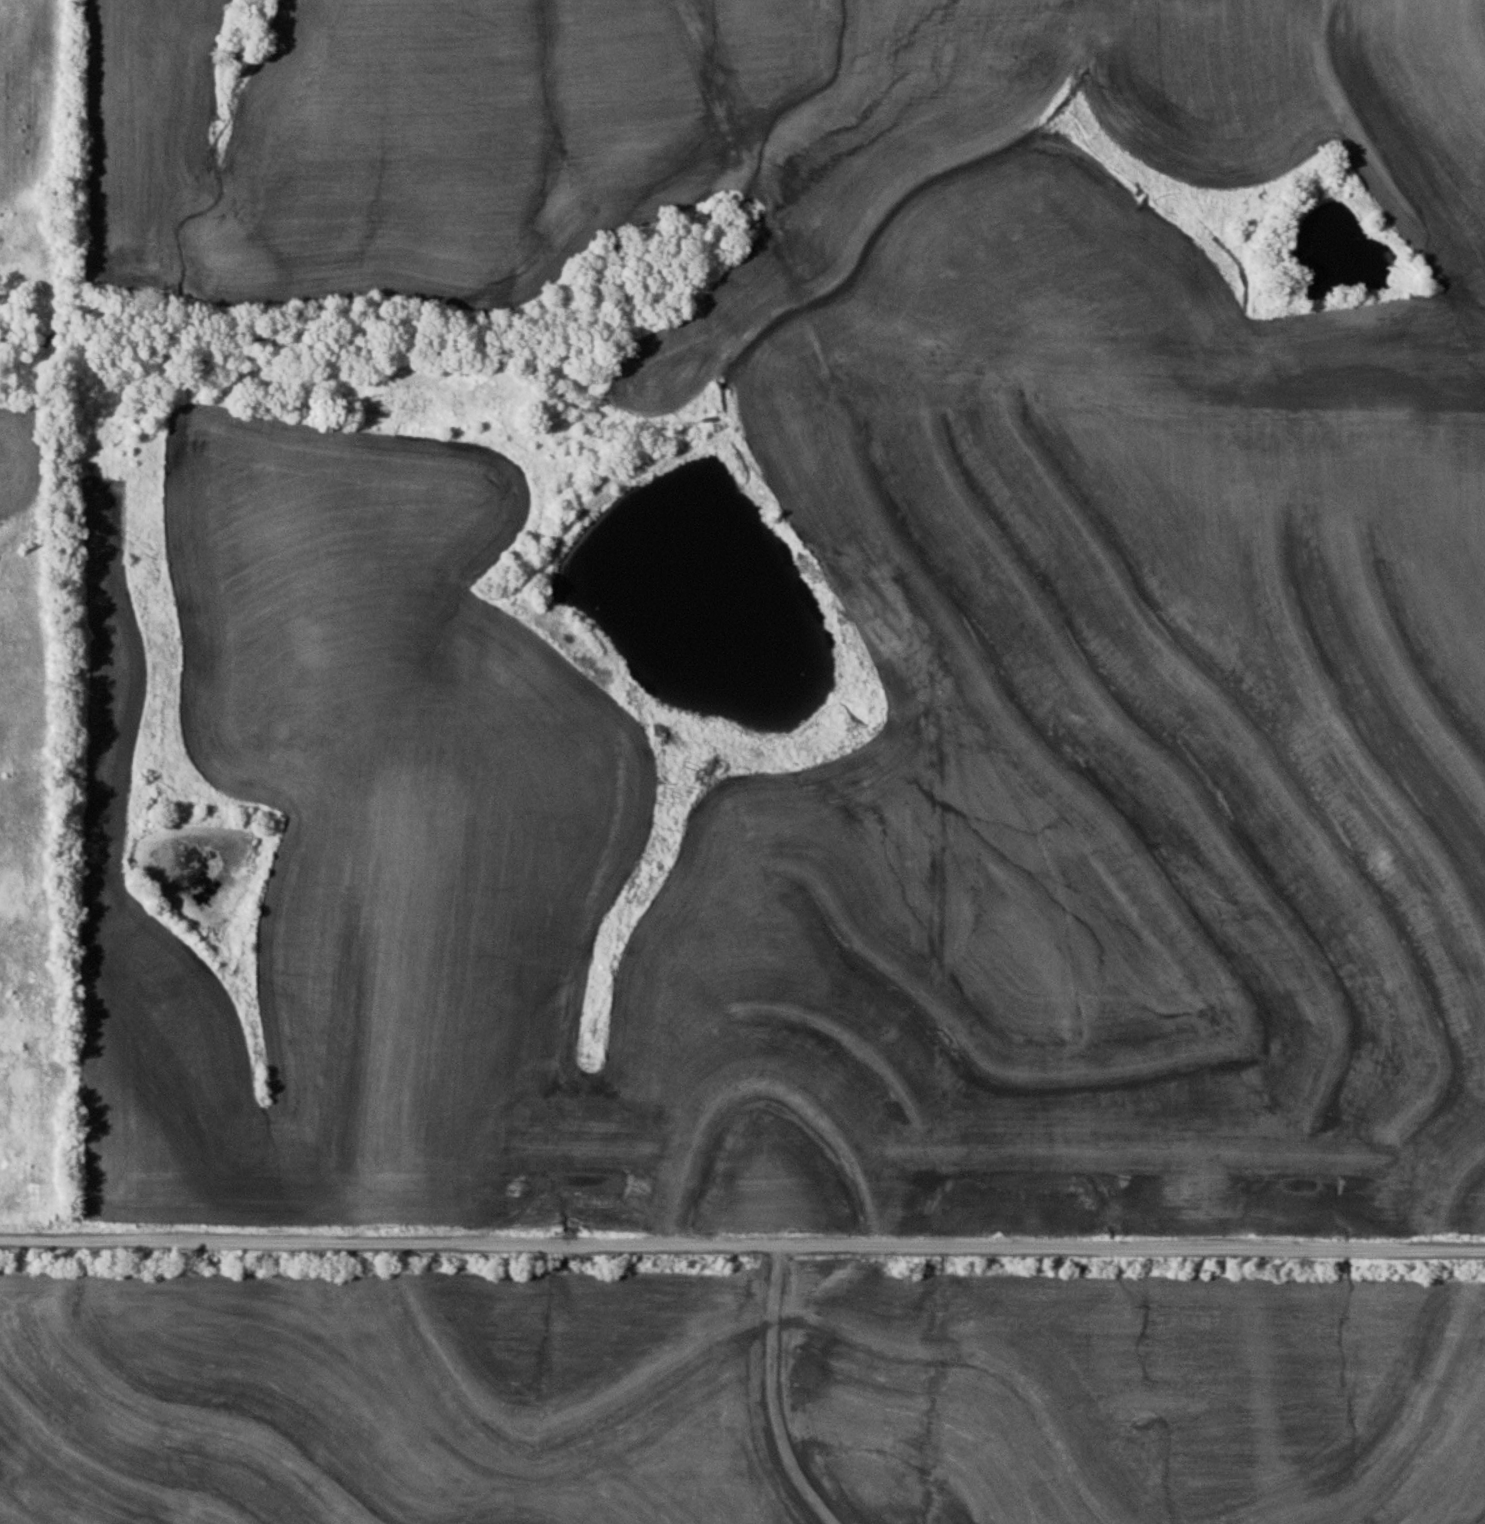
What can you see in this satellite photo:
road: (742, 1243)

